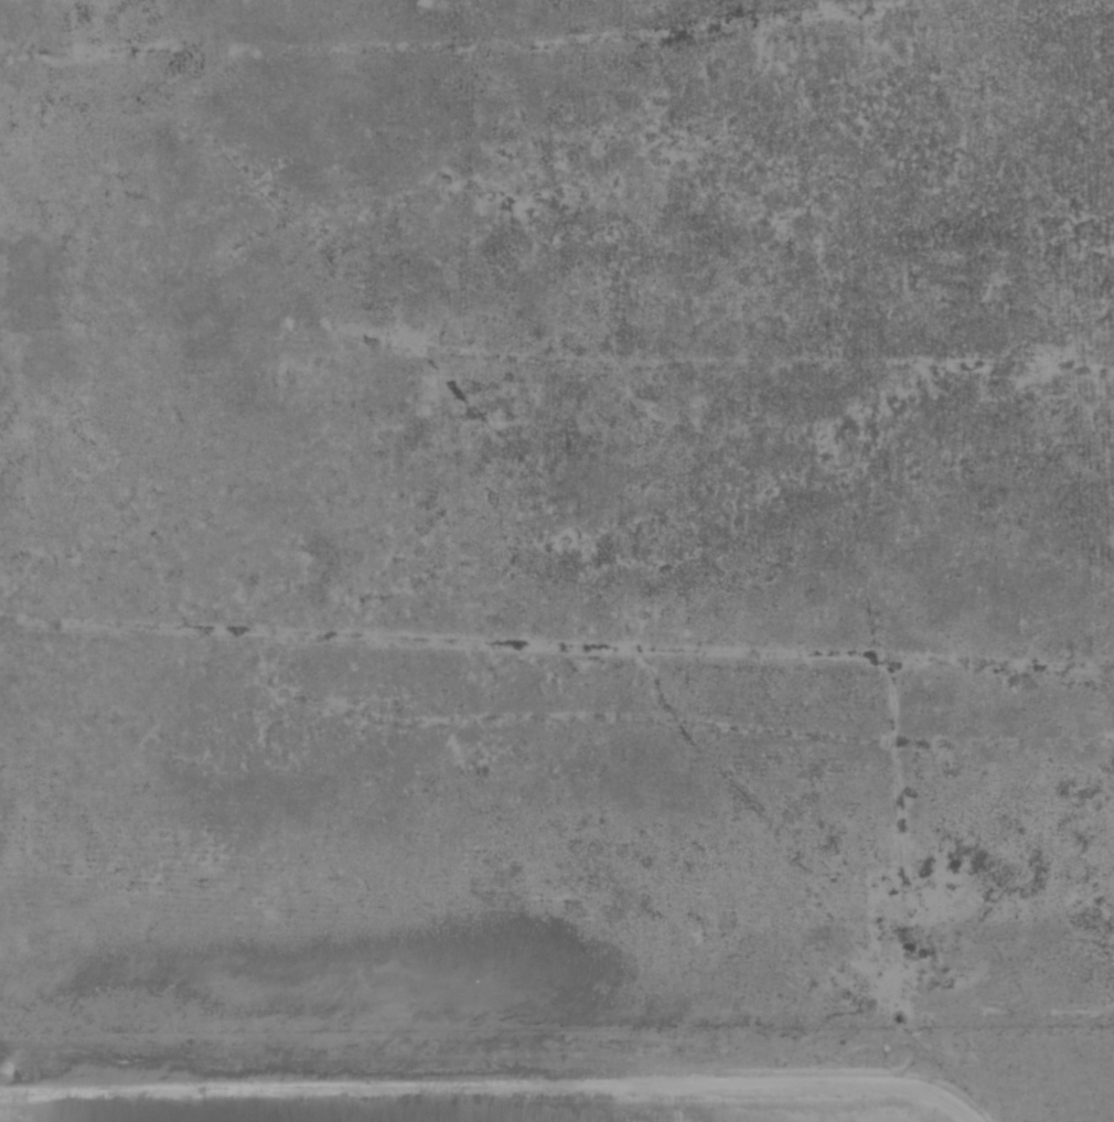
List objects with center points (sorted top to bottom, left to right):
landfill: (478, 1115)

